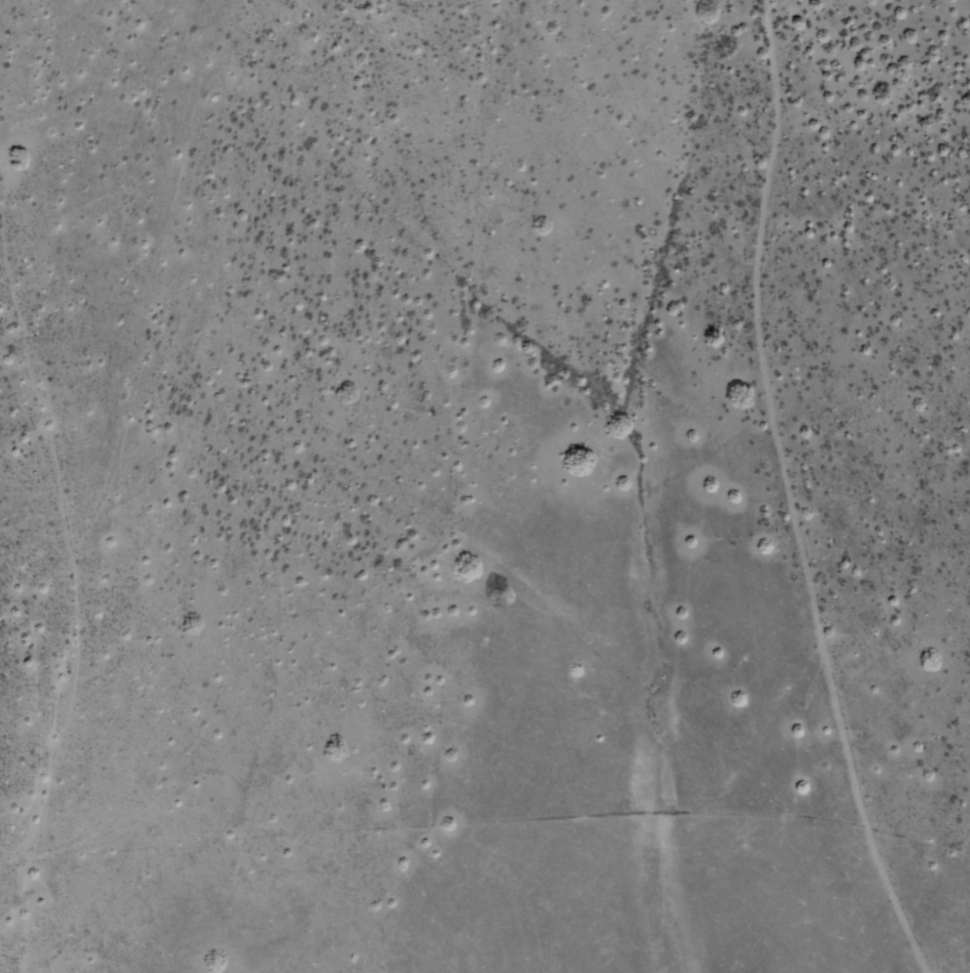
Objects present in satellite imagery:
road: (779, 494)

